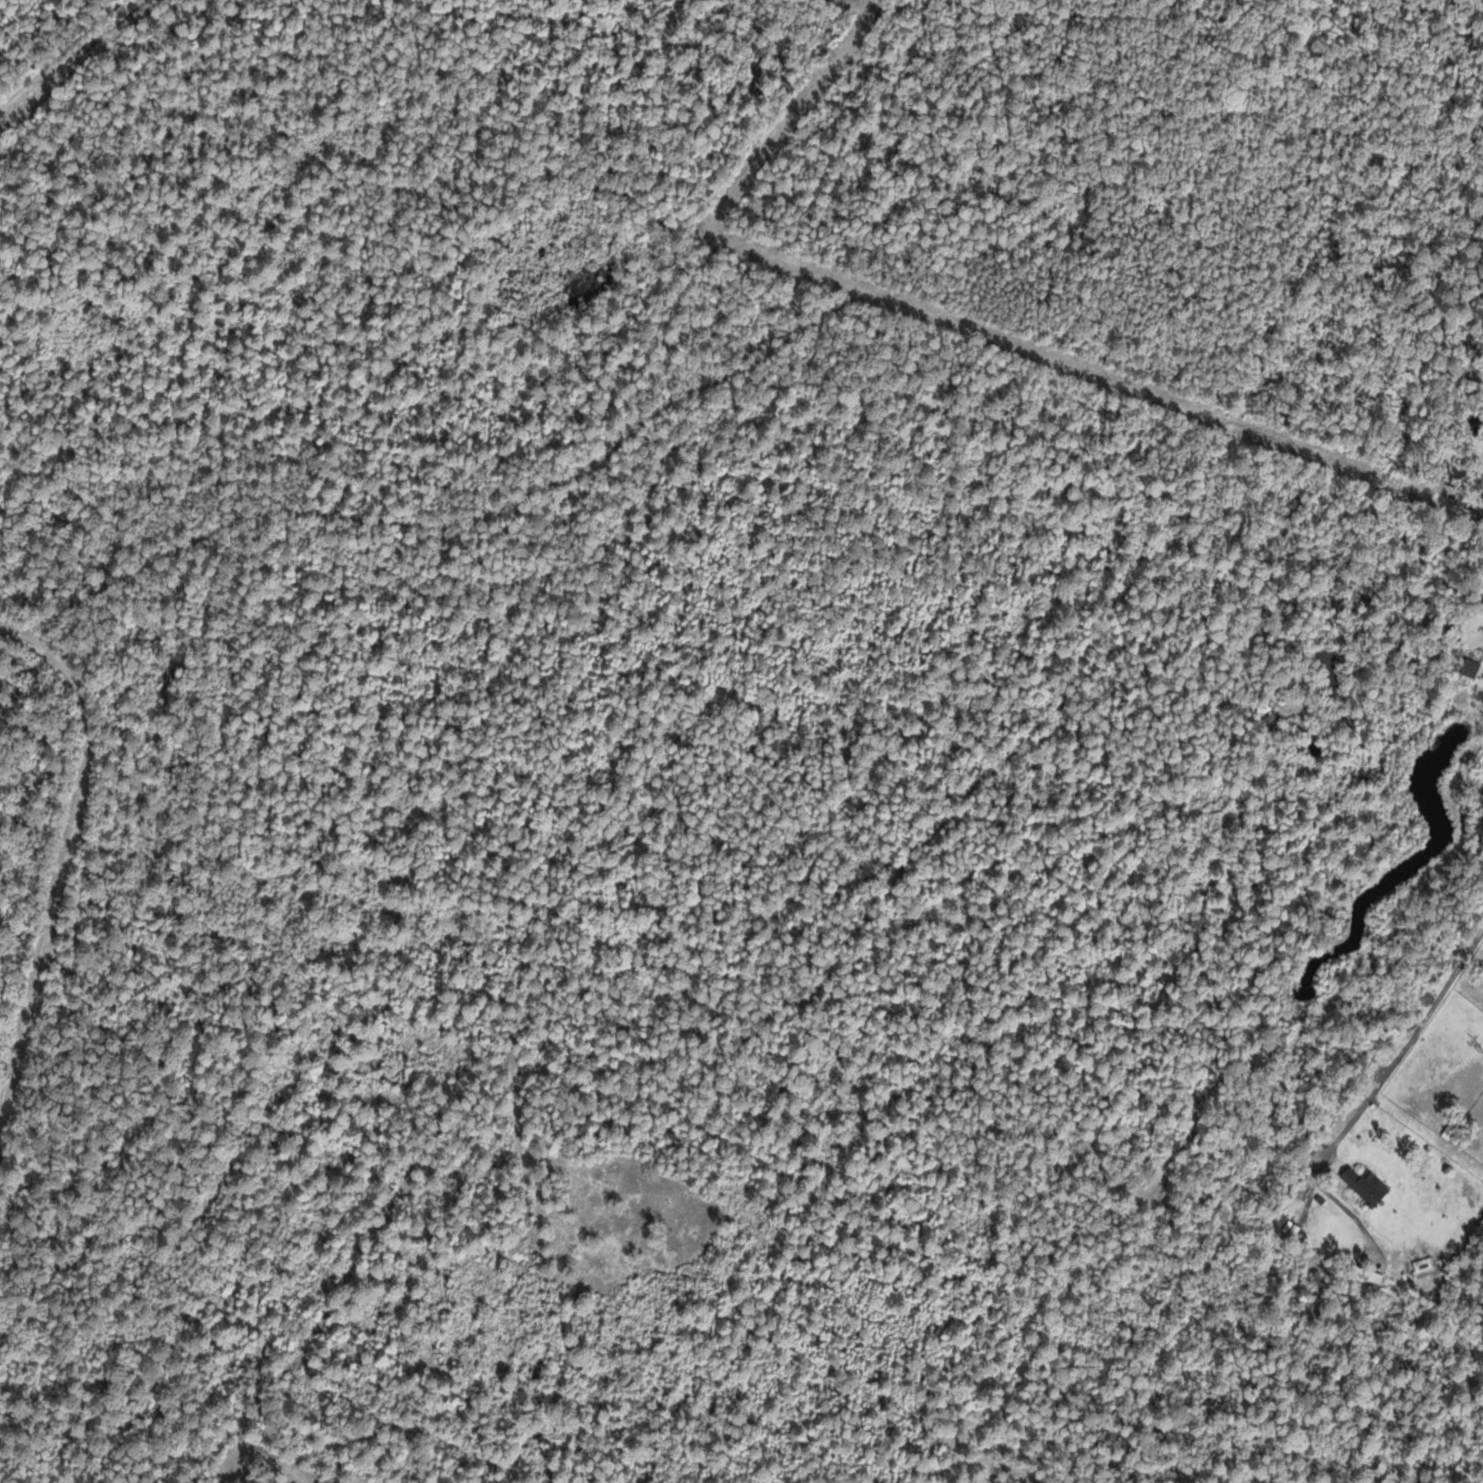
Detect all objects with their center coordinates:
road: (58, 50)
building: (1276, 688)
road: (67, 849)
road: (1374, 1091)
building: (1364, 1187)

